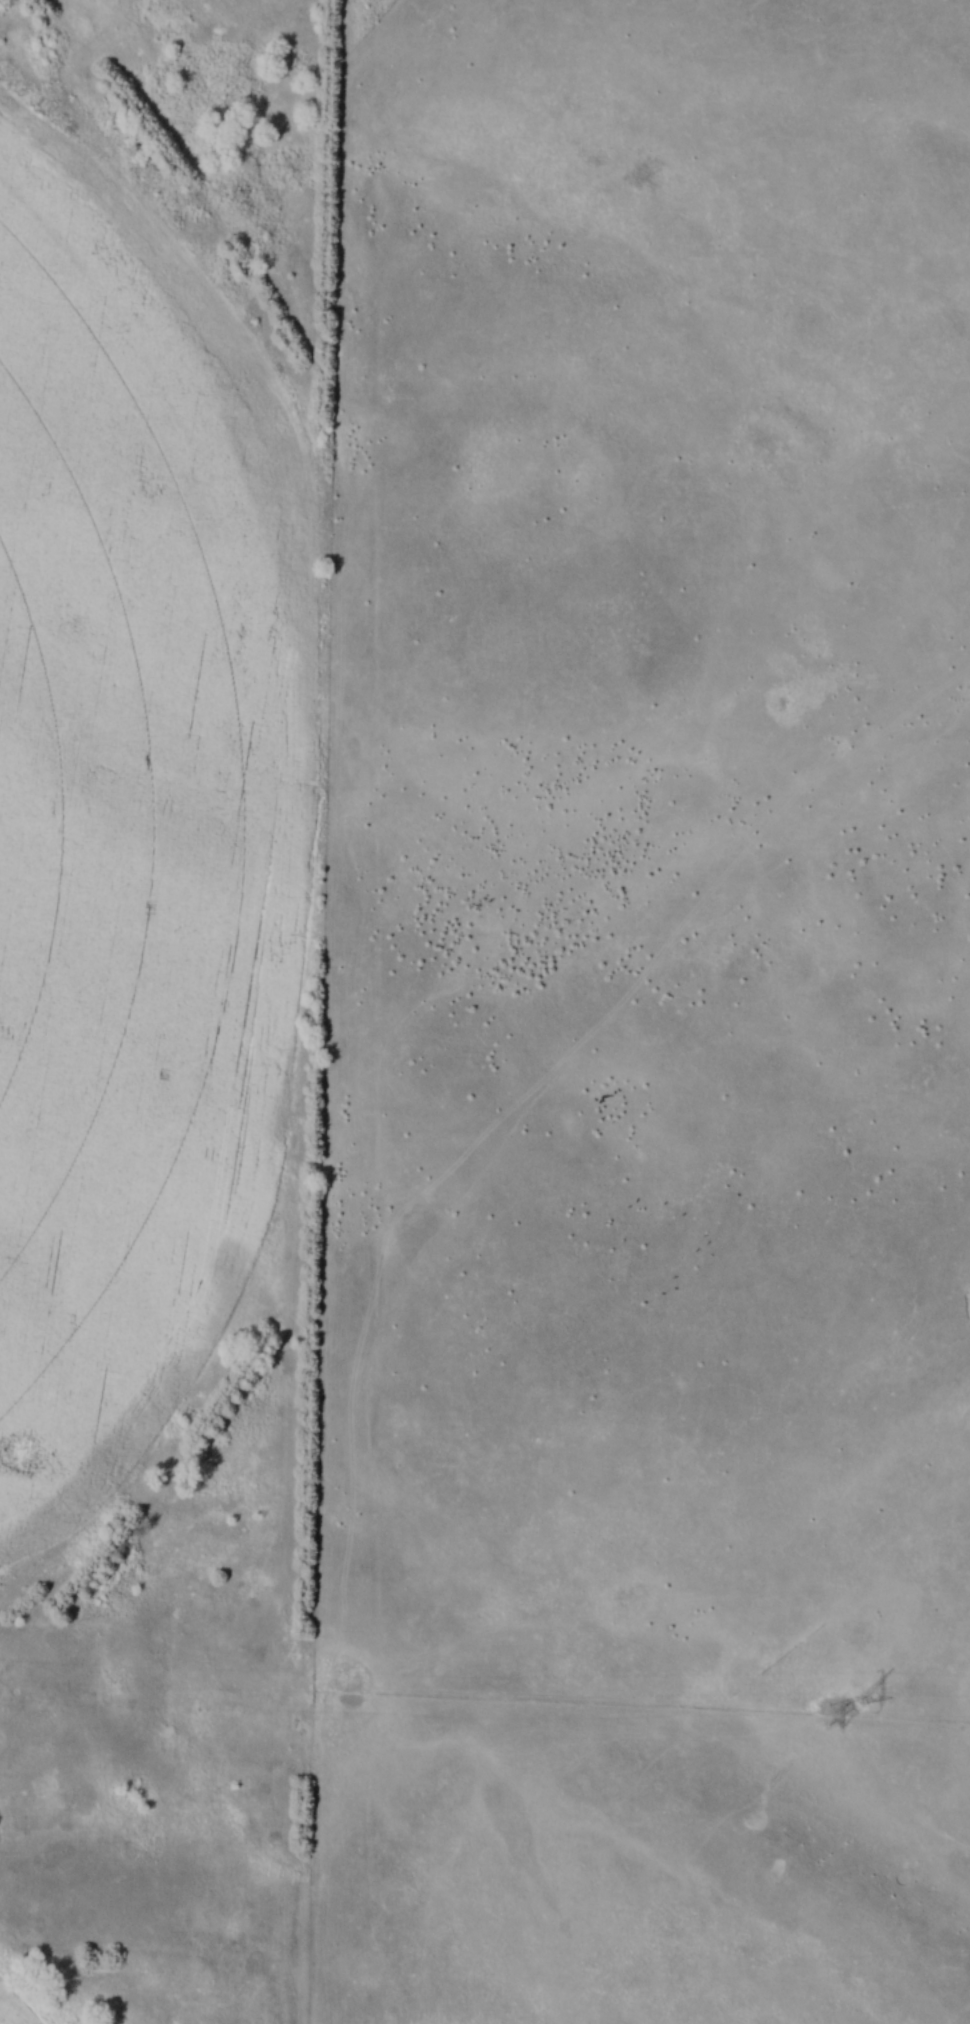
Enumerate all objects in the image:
power tower: (836, 1716)

